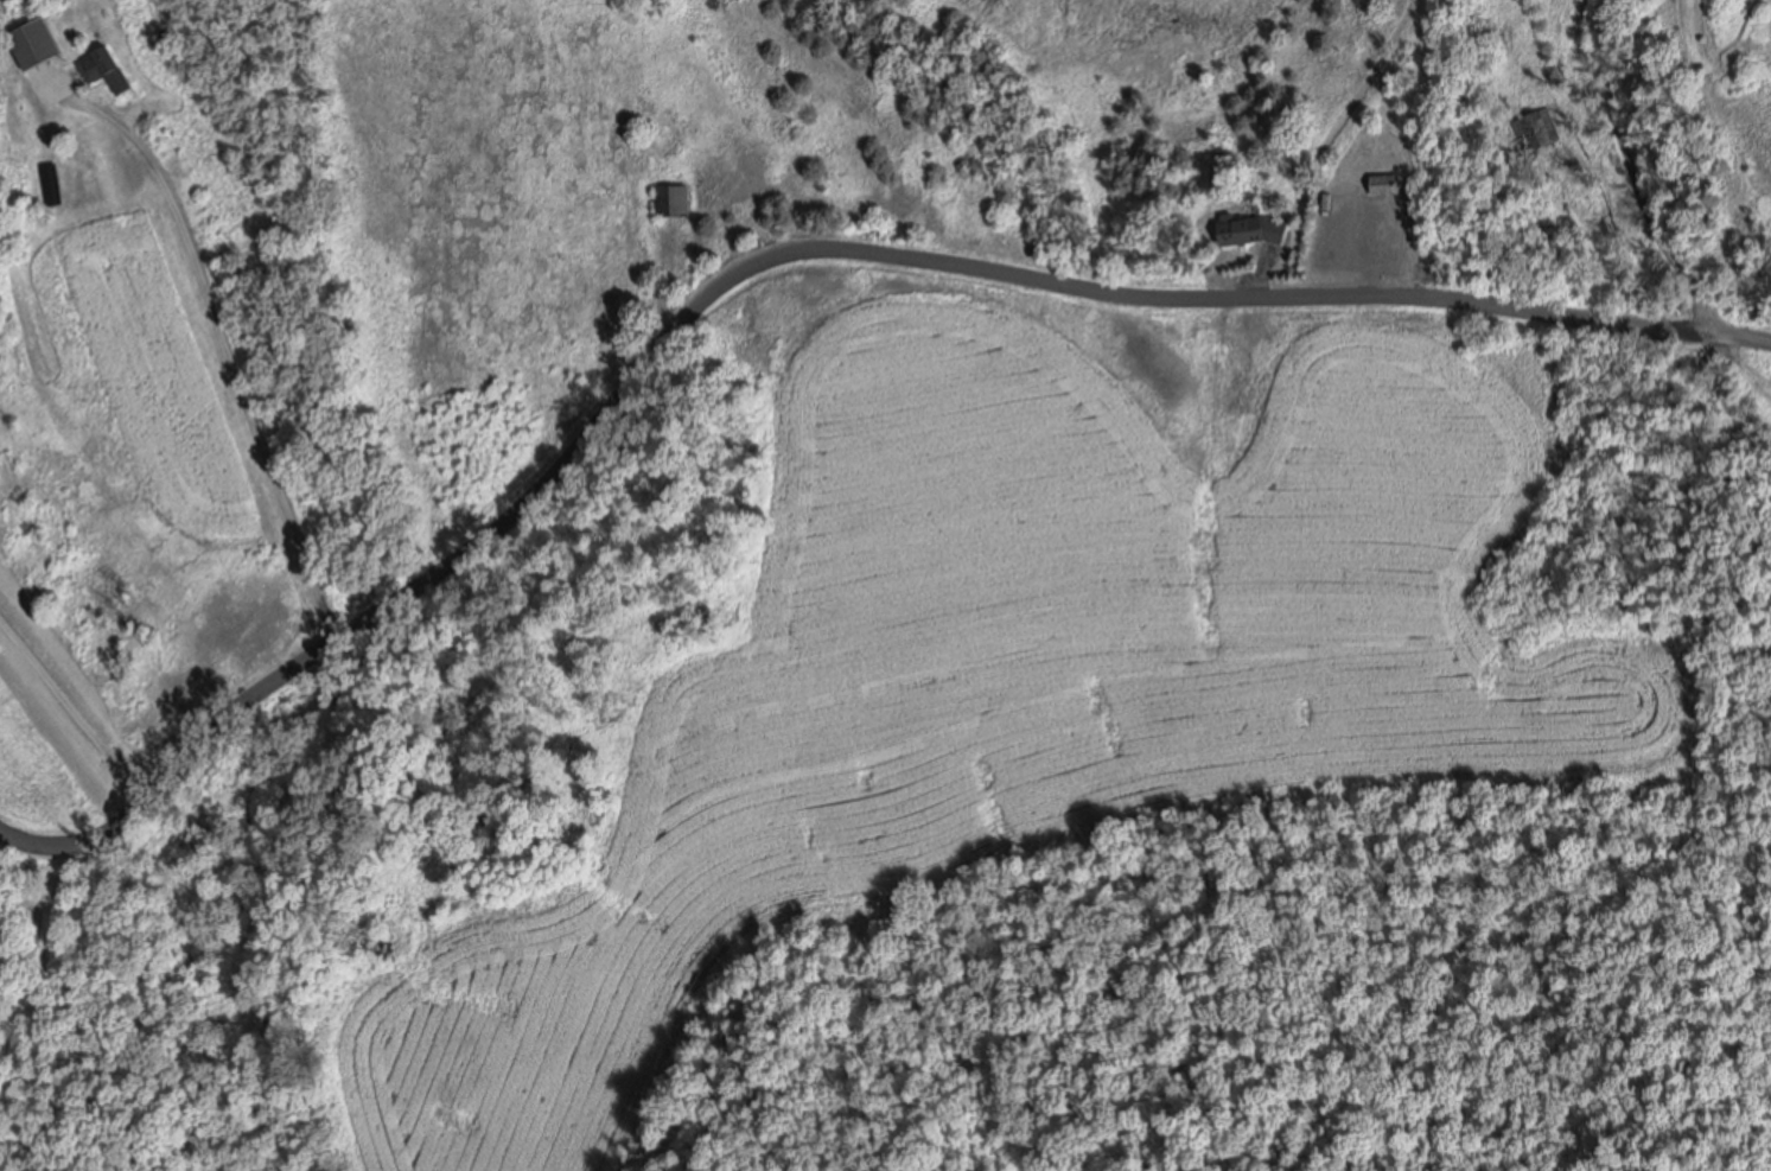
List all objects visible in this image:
building: (38, 39)
building: (106, 65)
building: (1542, 126)
building: (1389, 180)
building: (51, 182)
building: (667, 198)
building: (1255, 227)
road: (772, 250)
road: (221, 343)
road: (74, 714)

